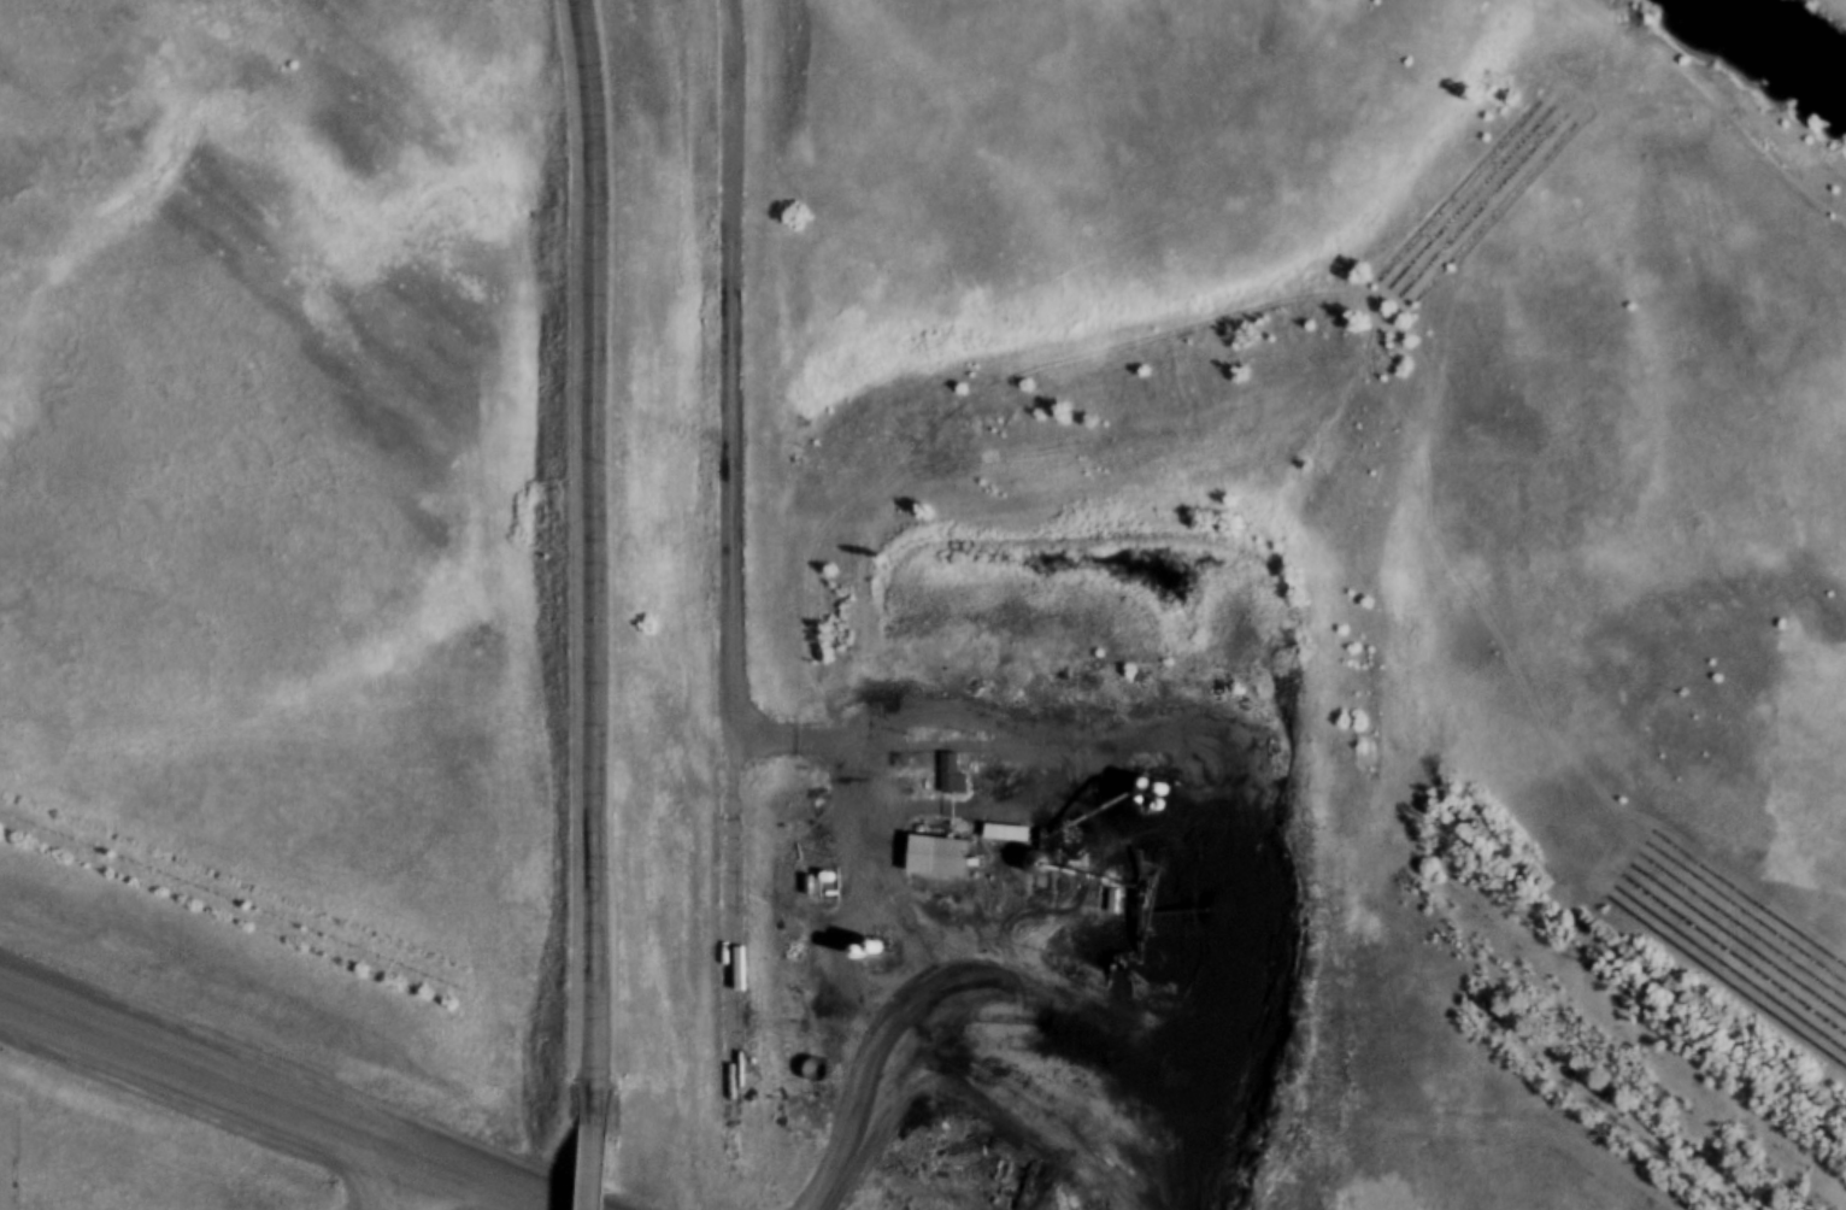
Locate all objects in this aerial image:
road: (1835, 6)
road: (728, 372)
road: (586, 563)
building: (959, 774)
building: (945, 858)
road: (878, 939)
road: (728, 956)
road: (264, 1105)
road: (596, 1169)

